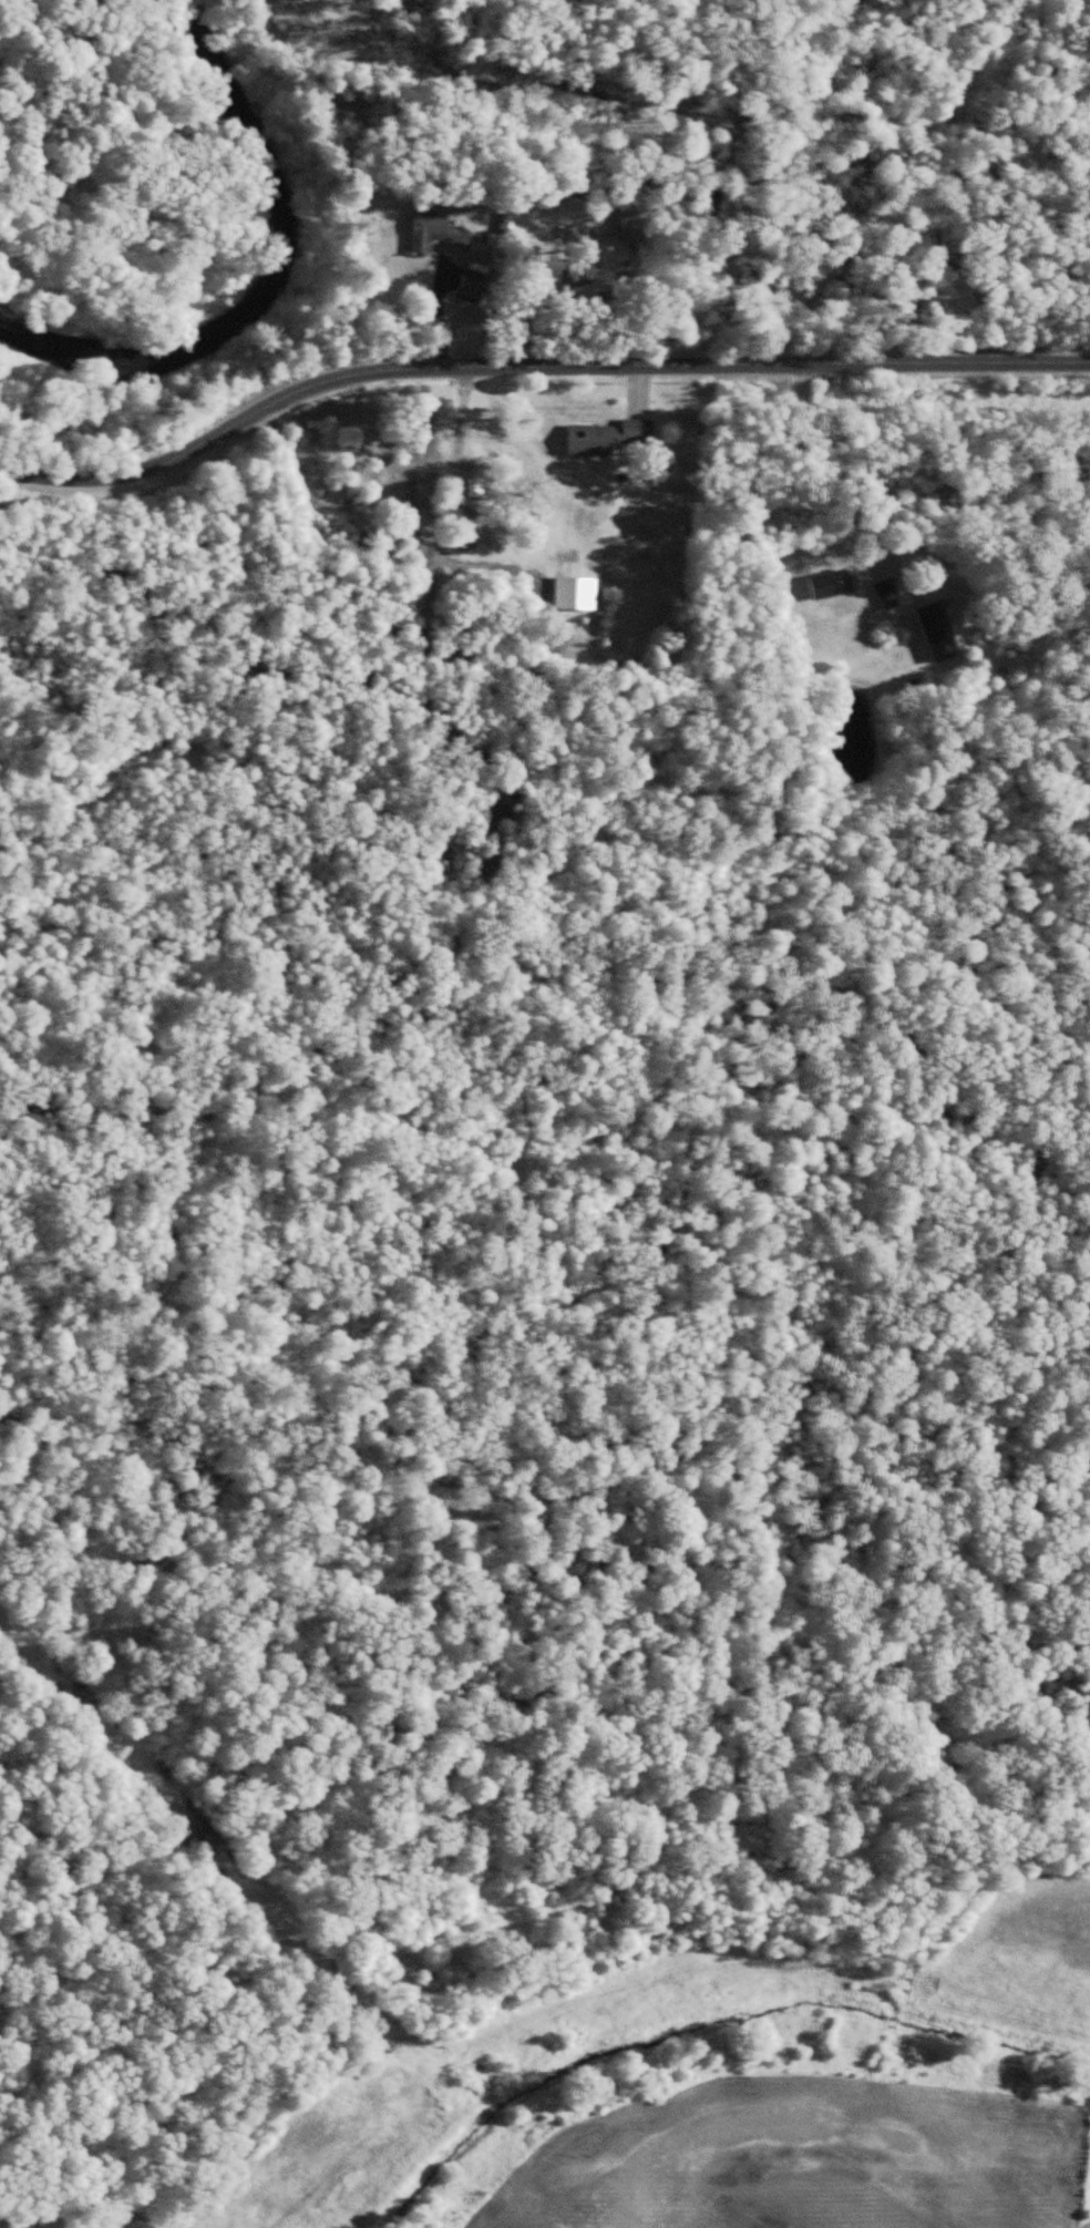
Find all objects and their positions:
building: (634, 228)
building: (439, 236)
river: (261, 257)
building: (542, 268)
road: (529, 371)
building: (609, 439)
building: (394, 484)
building: (475, 489)
building: (504, 556)
building: (831, 586)
building: (887, 594)
building: (576, 596)
building: (935, 626)

